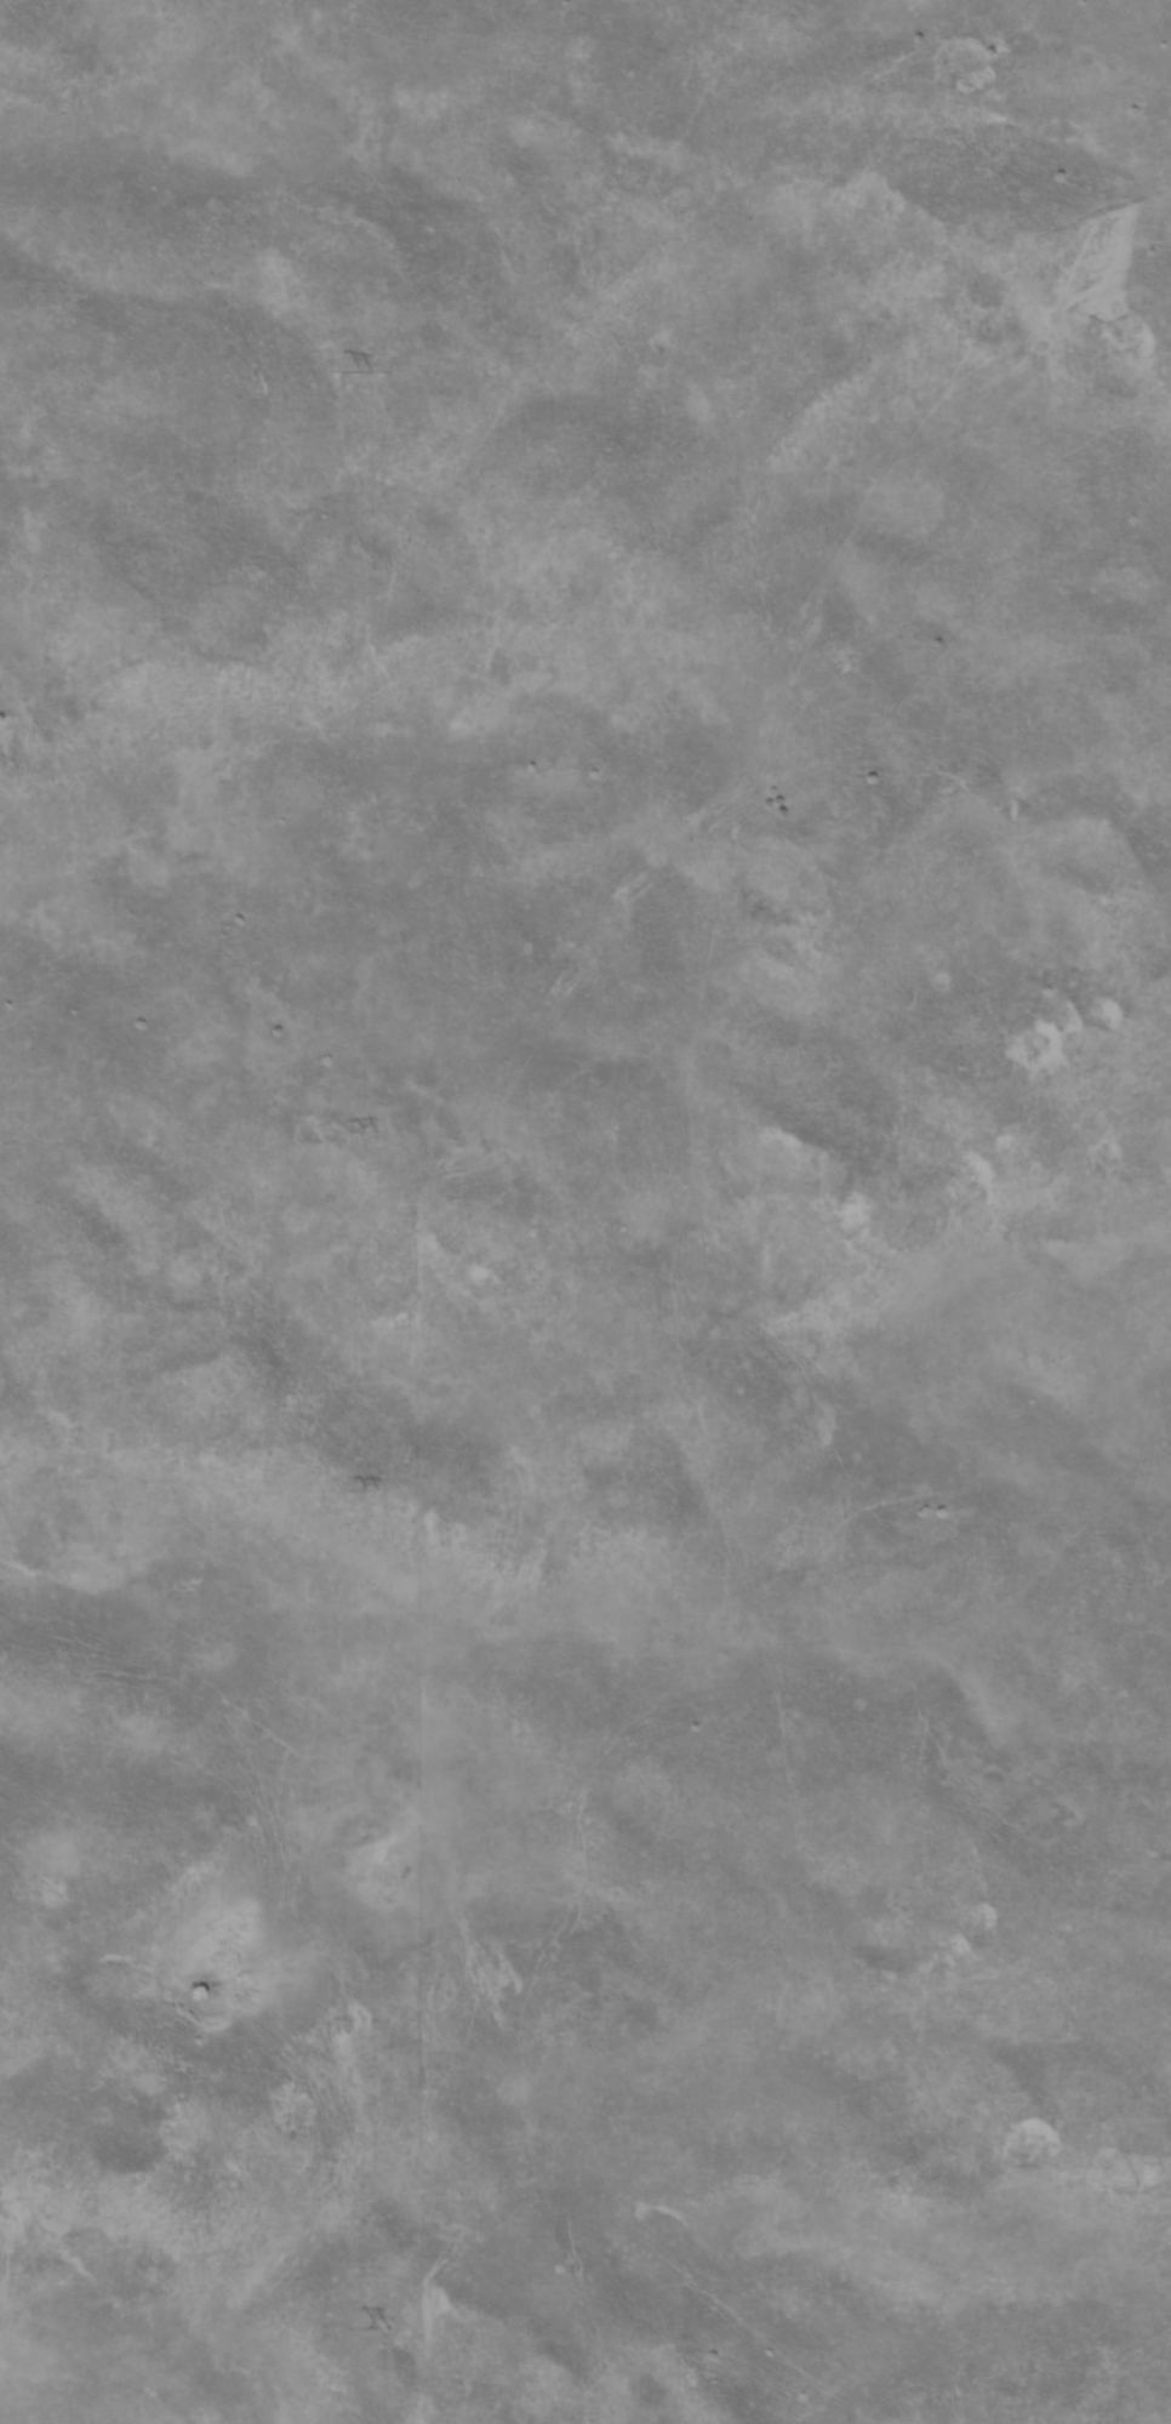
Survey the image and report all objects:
power tower: (367, 371)
power tower: (373, 1131)
power tower: (379, 1490)
power tower: (381, 2328)

